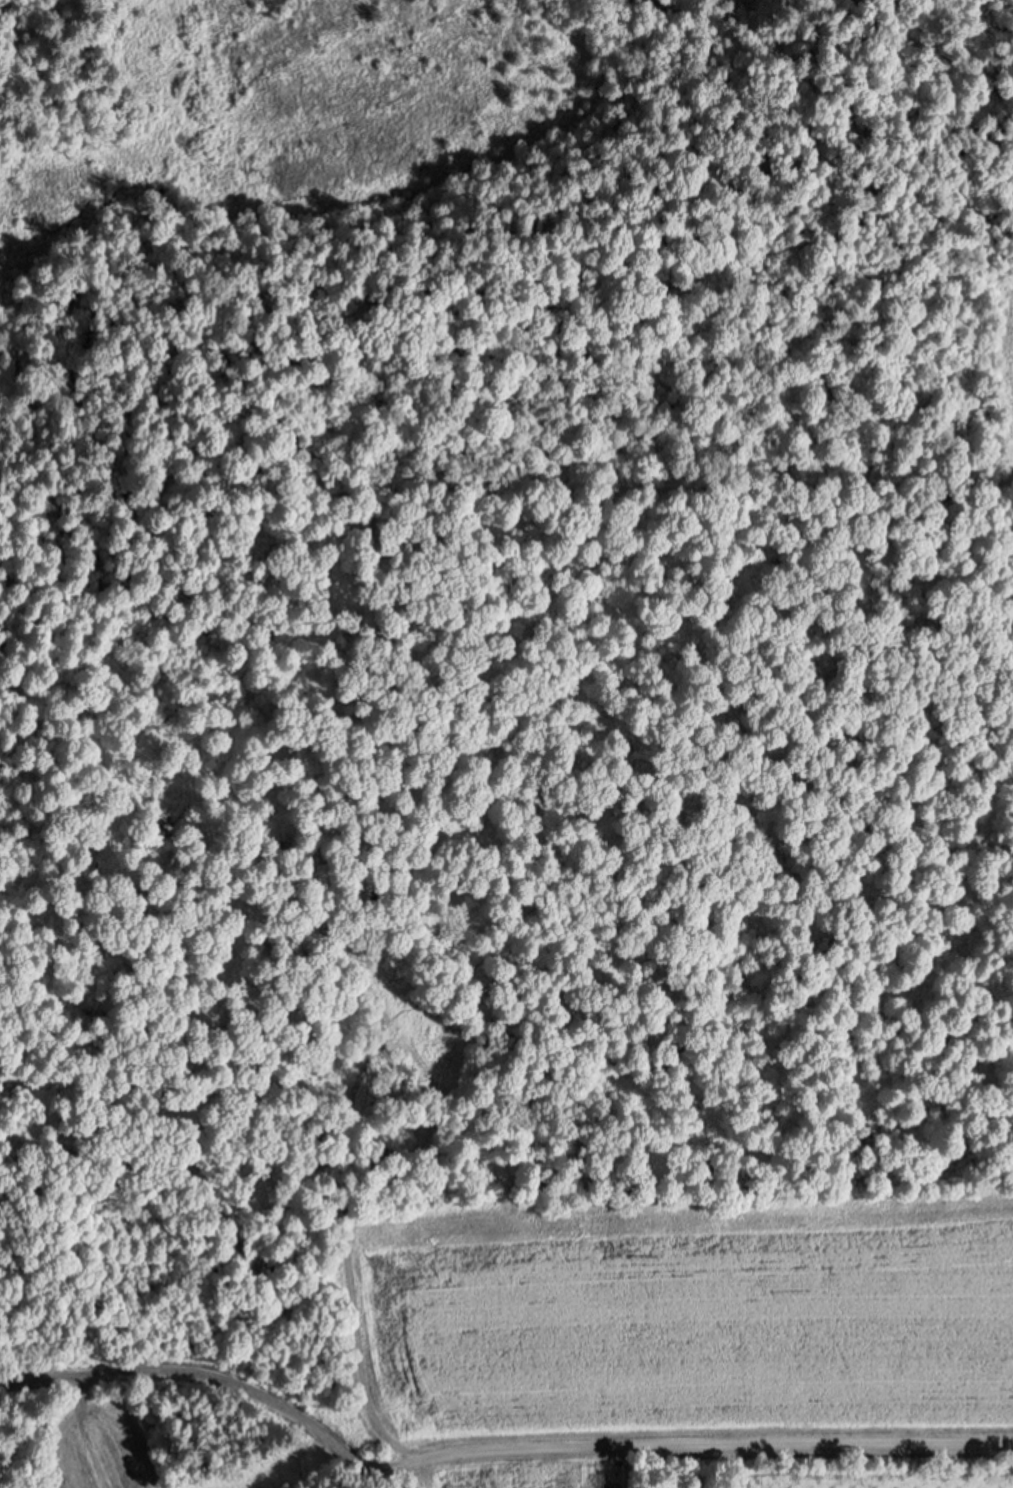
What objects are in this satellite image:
road: (733, 1454)

